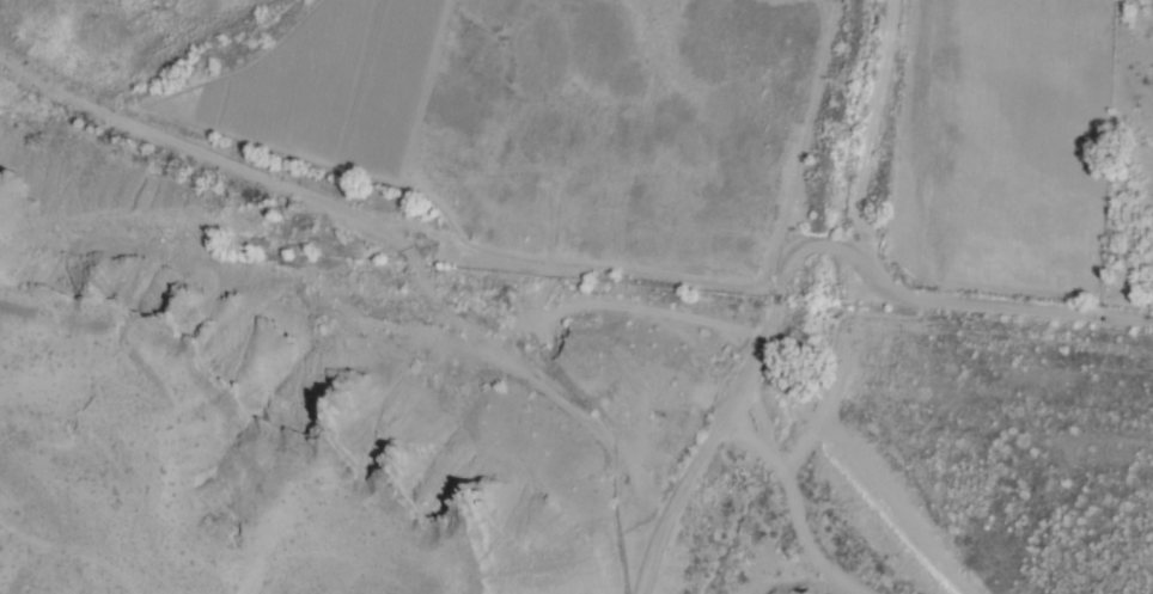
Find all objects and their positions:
road: (394, 244)
road: (983, 307)
road: (736, 398)
road: (799, 503)
road: (647, 581)

